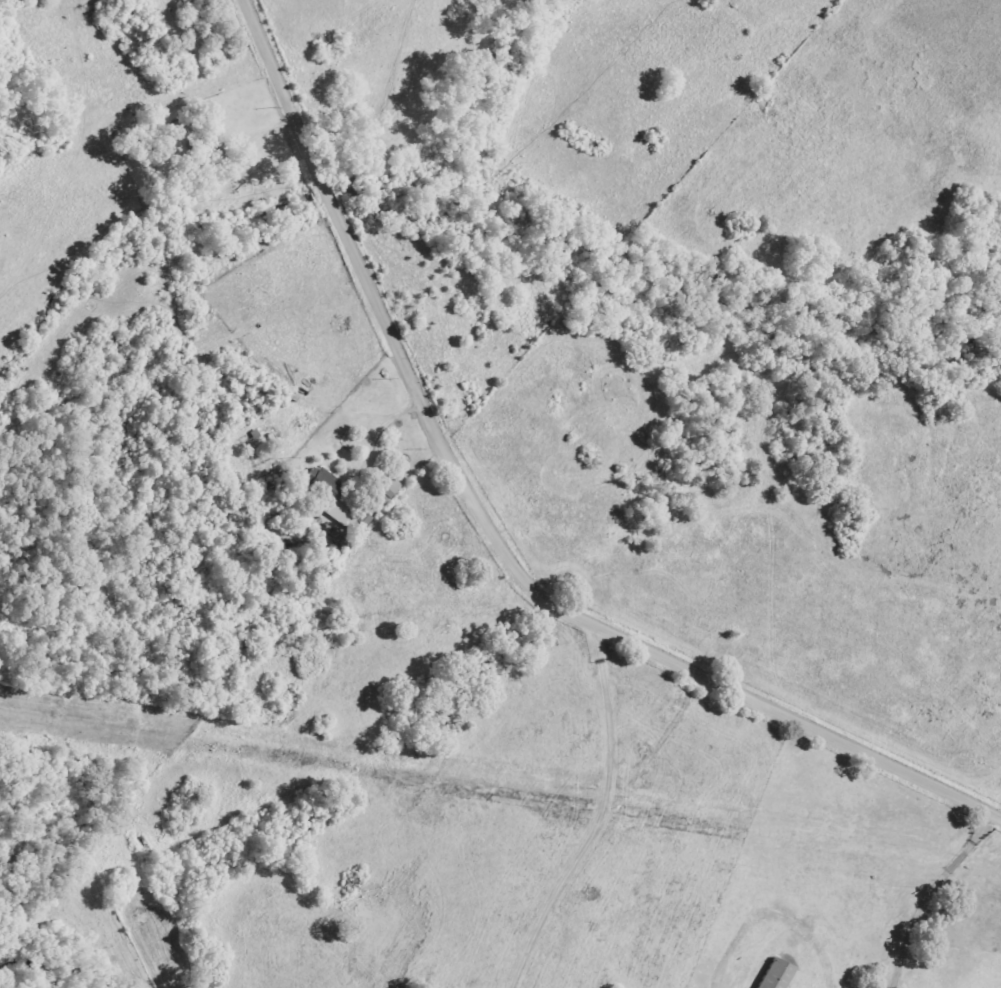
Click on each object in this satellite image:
building: (199, 153)
road: (381, 419)
building: (329, 500)
building: (363, 521)
road: (495, 533)
road: (597, 815)
road: (924, 893)
building: (775, 975)

